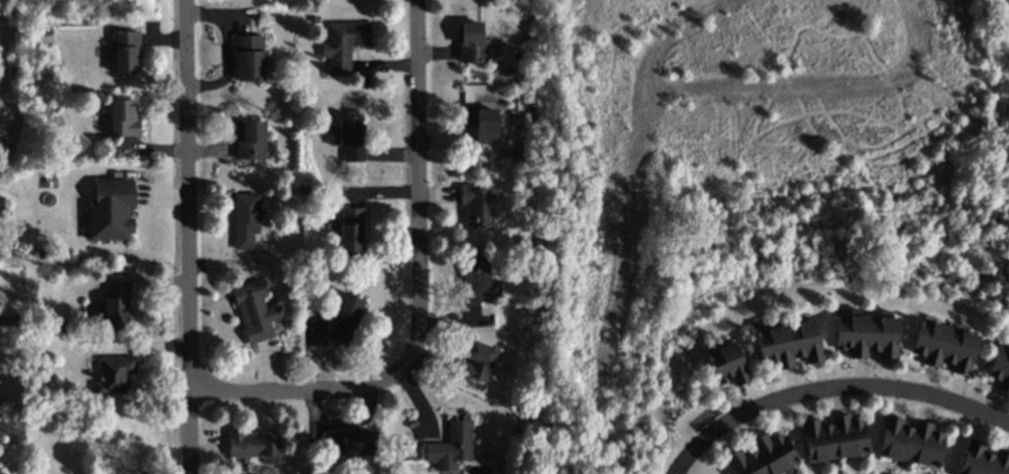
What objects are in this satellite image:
building: (471, 43)
building: (343, 44)
road: (227, 50)
building: (125, 51)
building: (249, 58)
building: (123, 118)
building: (478, 122)
building: (348, 137)
building: (249, 140)
road: (417, 193)
building: (475, 206)
building: (110, 210)
building: (245, 220)
building: (351, 230)
road: (186, 236)
building: (474, 278)
building: (115, 306)
building: (347, 310)
building: (254, 311)
building: (2, 322)
building: (317, 333)
building: (866, 335)
building: (789, 343)
building: (944, 347)
building: (474, 363)
building: (727, 364)
building: (1000, 367)
building: (114, 375)
road: (869, 388)
road: (290, 391)
building: (834, 438)
building: (350, 442)
building: (910, 442)
building: (253, 445)
road: (698, 445)
building: (451, 446)
building: (763, 457)
building: (983, 460)

